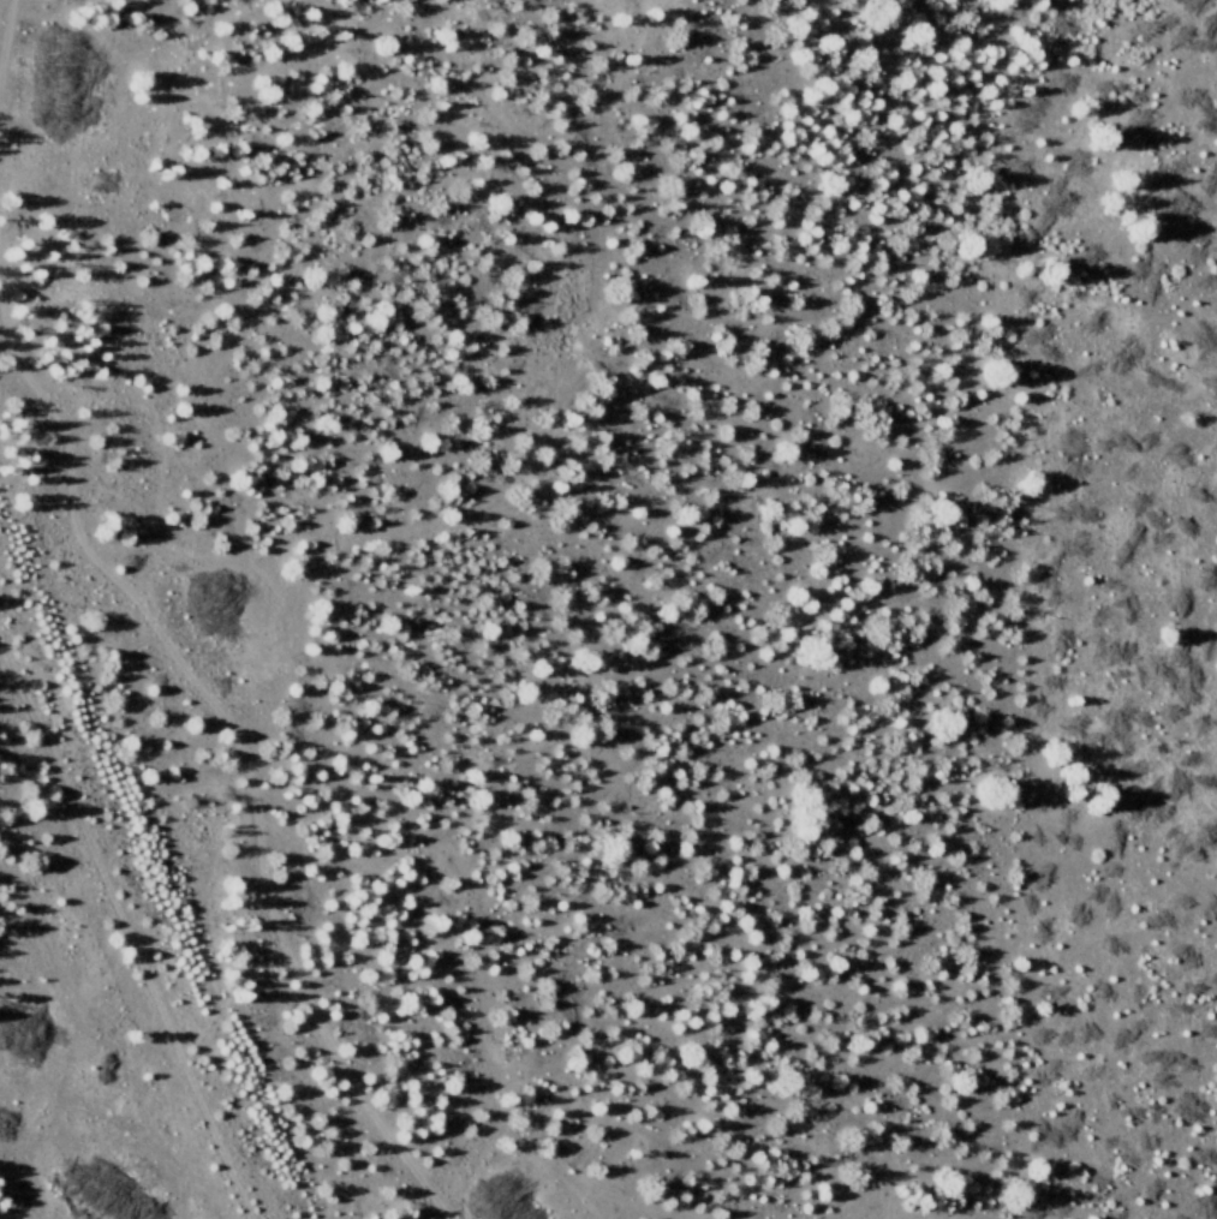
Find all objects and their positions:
road: (126, 934)

